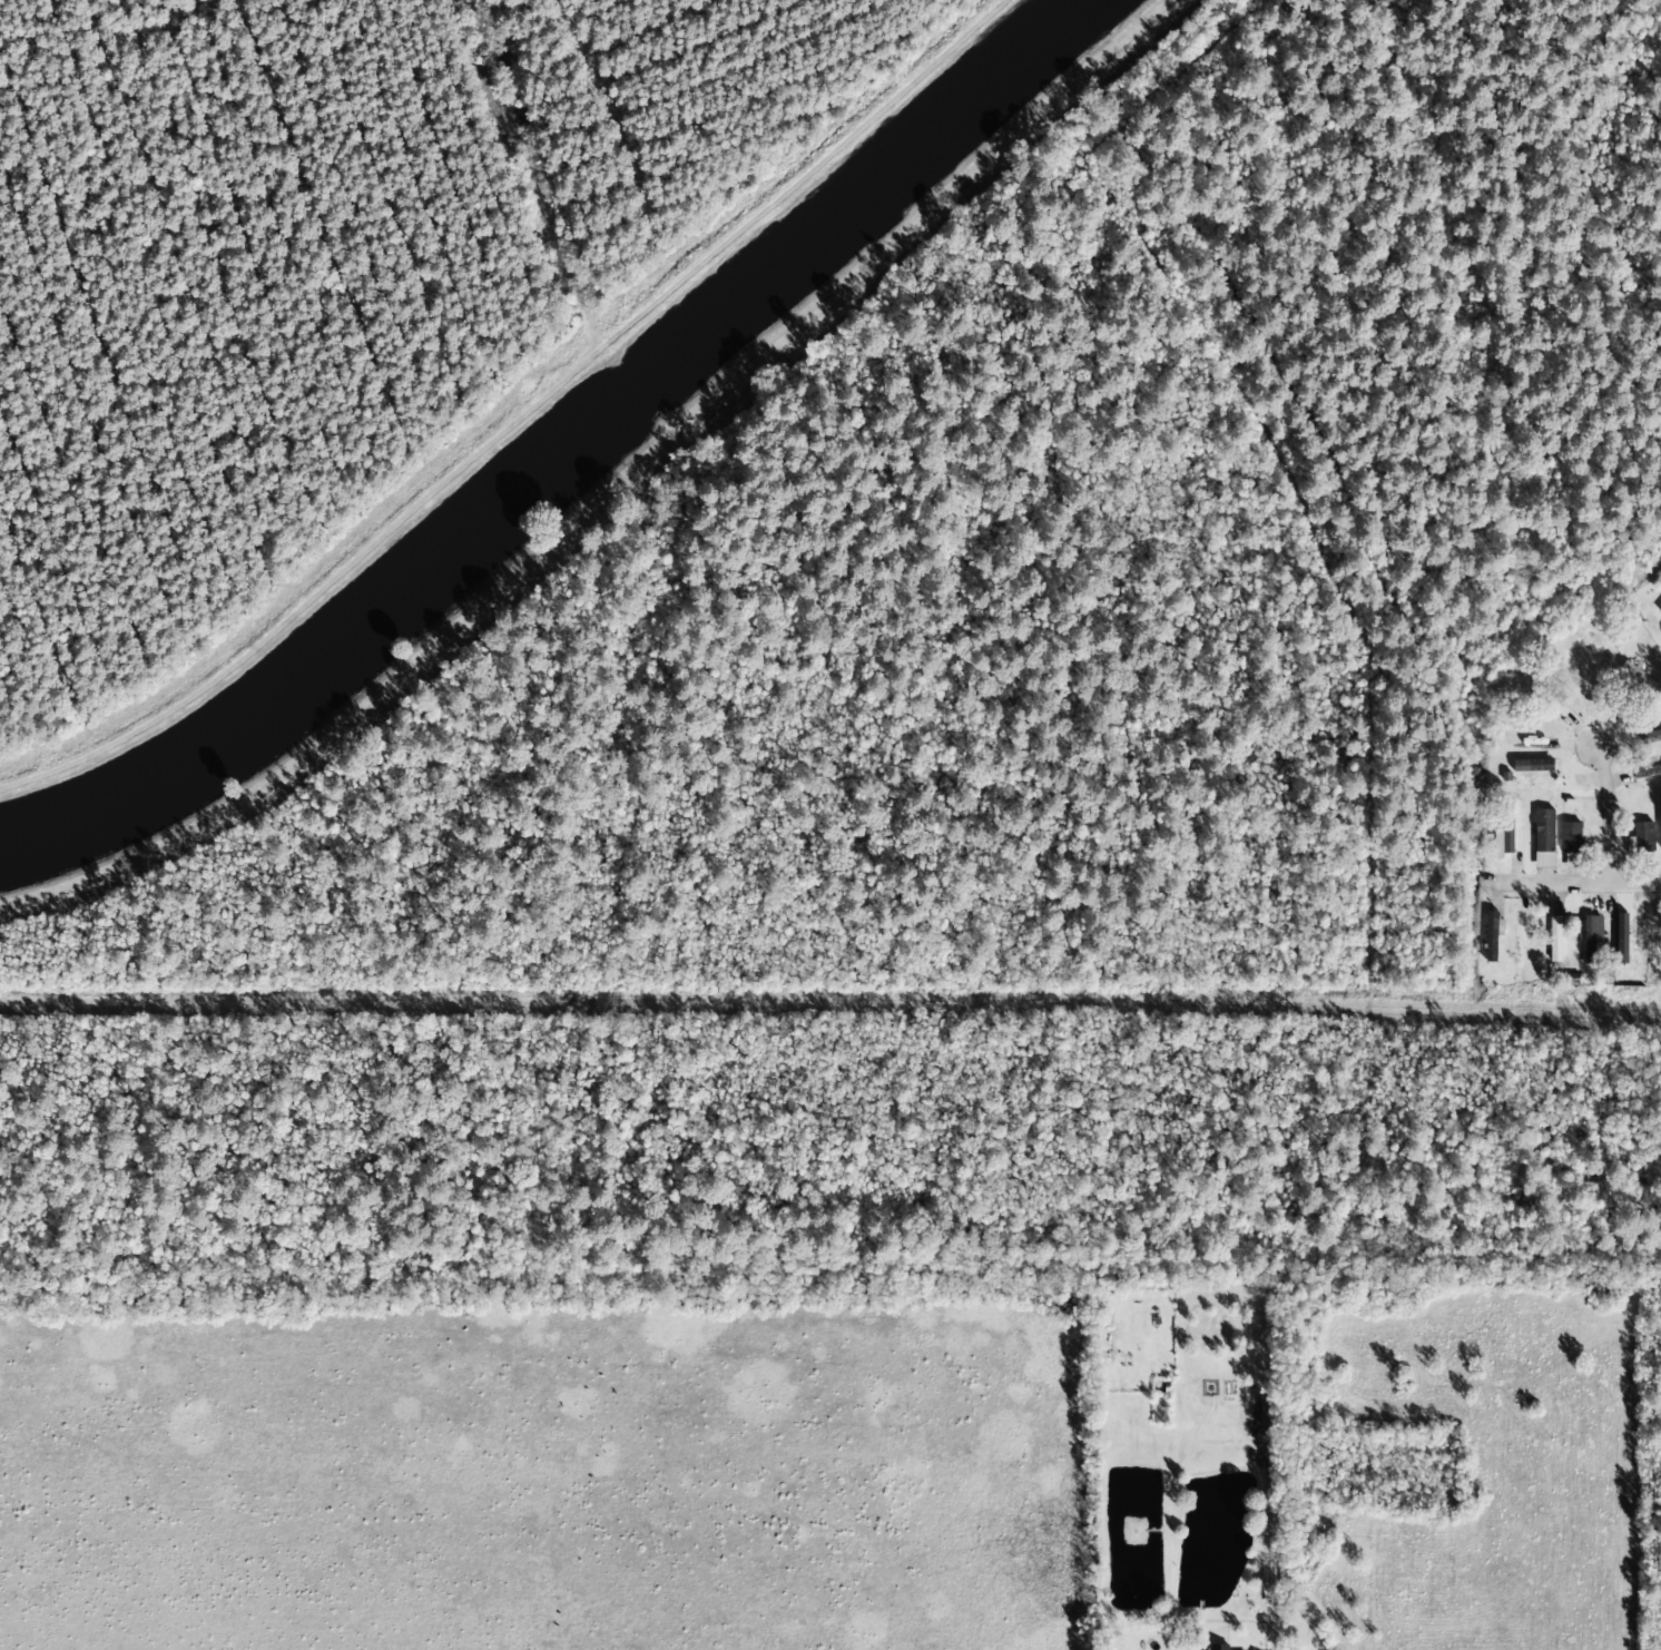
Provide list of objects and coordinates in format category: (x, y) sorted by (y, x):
building: (1660, 610)
building: (1639, 677)
building: (1649, 772)
building: (1660, 814)
road: (1608, 815)
building: (1544, 831)
building: (1571, 837)
building: (1643, 837)
road: (1575, 883)
building: (1492, 935)
building: (1591, 942)
building: (1268, 1414)
building: (1219, 1647)

